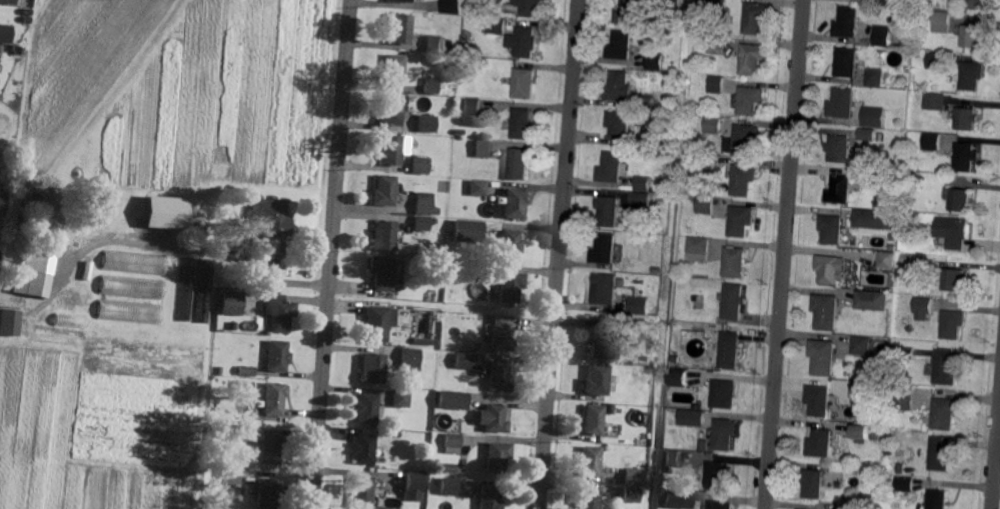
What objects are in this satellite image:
building: (400, 1)
building: (8, 2)
building: (484, 3)
building: (881, 3)
building: (976, 4)
building: (671, 5)
building: (451, 7)
building: (528, 7)
building: (467, 10)
building: (28, 12)
building: (627, 12)
building: (28, 19)
building: (755, 19)
building: (941, 22)
building: (847, 23)
building: (495, 26)
building: (399, 30)
building: (6, 33)
building: (466, 33)
building: (882, 36)
building: (971, 37)
building: (521, 42)
building: (433, 45)
building: (716, 45)
building: (618, 46)
building: (18, 50)
building: (752, 59)
building: (655, 60)
building: (935, 61)
building: (846, 63)
building: (392, 71)
building: (971, 76)
building: (875, 78)
building: (522, 84)
building: (715, 85)
building: (430, 87)
building: (616, 87)
building: (436, 100)
building: (750, 101)
building: (645, 102)
building: (935, 102)
building: (844, 103)
building: (471, 107)
building: (390, 110)
building: (874, 117)
building: (966, 119)
building: (425, 124)
building: (520, 124)
building: (618, 125)
building: (712, 125)
building: (460, 132)
building: (868, 134)
building: (743, 140)
building: (909, 140)
building: (931, 142)
building: (483, 148)
building: (840, 148)
building: (392, 149)
building: (965, 157)
building: (518, 163)
building: (703, 163)
building: (906, 164)
building: (420, 165)
building: (613, 167)
building: (919, 169)
building: (744, 179)
building: (882, 179)
building: (642, 184)
building: (479, 187)
building: (840, 189)
building: (385, 190)
building: (907, 192)
building: (640, 200)
building: (959, 200)
building: (1, 201)
building: (516, 202)
building: (424, 204)
building: (706, 204)
building: (609, 210)
building: (164, 213)
building: (874, 219)
building: (741, 221)
building: (271, 223)
building: (422, 223)
building: (832, 229)
building: (467, 231)
building: (952, 232)
building: (384, 236)
building: (894, 237)
building: (509, 245)
building: (892, 248)
building: (605, 249)
building: (699, 249)
road: (333, 254)
road: (559, 254)
road: (785, 254)
building: (903, 258)
building: (887, 259)
building: (735, 262)
building: (134, 263)
building: (657, 269)
building: (830, 269)
building: (87, 270)
building: (436, 271)
building: (383, 272)
building: (33, 273)
building: (172, 273)
building: (955, 281)
building: (621, 283)
building: (510, 286)
building: (131, 288)
building: (186, 289)
building: (604, 289)
building: (204, 291)
building: (491, 292)
building: (697, 297)
building: (735, 301)
building: (872, 301)
building: (230, 303)
building: (640, 304)
building: (920, 305)
building: (279, 311)
building: (827, 311)
building: (129, 312)
building: (68, 320)
building: (11, 322)
building: (377, 323)
building: (952, 324)
building: (232, 325)
building: (500, 334)
building: (423, 341)
building: (602, 344)
building: (863, 345)
building: (473, 347)
building: (731, 349)
building: (908, 353)
building: (279, 355)
building: (824, 356)
building: (410, 359)
building: (464, 360)
building: (681, 360)
building: (894, 365)
building: (945, 368)
building: (372, 369)
building: (248, 370)
building: (498, 376)
building: (878, 377)
building: (679, 378)
building: (595, 380)
building: (861, 389)
building: (724, 394)
building: (401, 397)
building: (274, 398)
building: (904, 398)
building: (819, 399)
building: (452, 400)
building: (367, 407)
building: (610, 408)
building: (456, 413)
building: (945, 413)
building: (492, 418)
building: (691, 418)
building: (592, 420)
building: (891, 420)
building: (247, 432)
building: (725, 433)
building: (861, 433)
building: (876, 435)
building: (453, 443)
building: (820, 444)
building: (704, 445)
building: (270, 447)
building: (364, 449)
building: (633, 451)
building: (940, 454)
building: (497, 456)
building: (673, 458)
building: (589, 461)
road: (996, 464)
building: (448, 468)
building: (875, 469)
building: (901, 469)
building: (231, 474)
building: (717, 475)
building: (631, 477)
building: (812, 483)
building: (905, 484)
building: (413, 486)
building: (449, 486)
building: (361, 492)
building: (267, 493)
building: (631, 494)
building: (488, 498)
building: (586, 499)
building: (676, 499)
building: (938, 499)
building: (871, 500)
building: (717, 505)
building: (801, 508)

